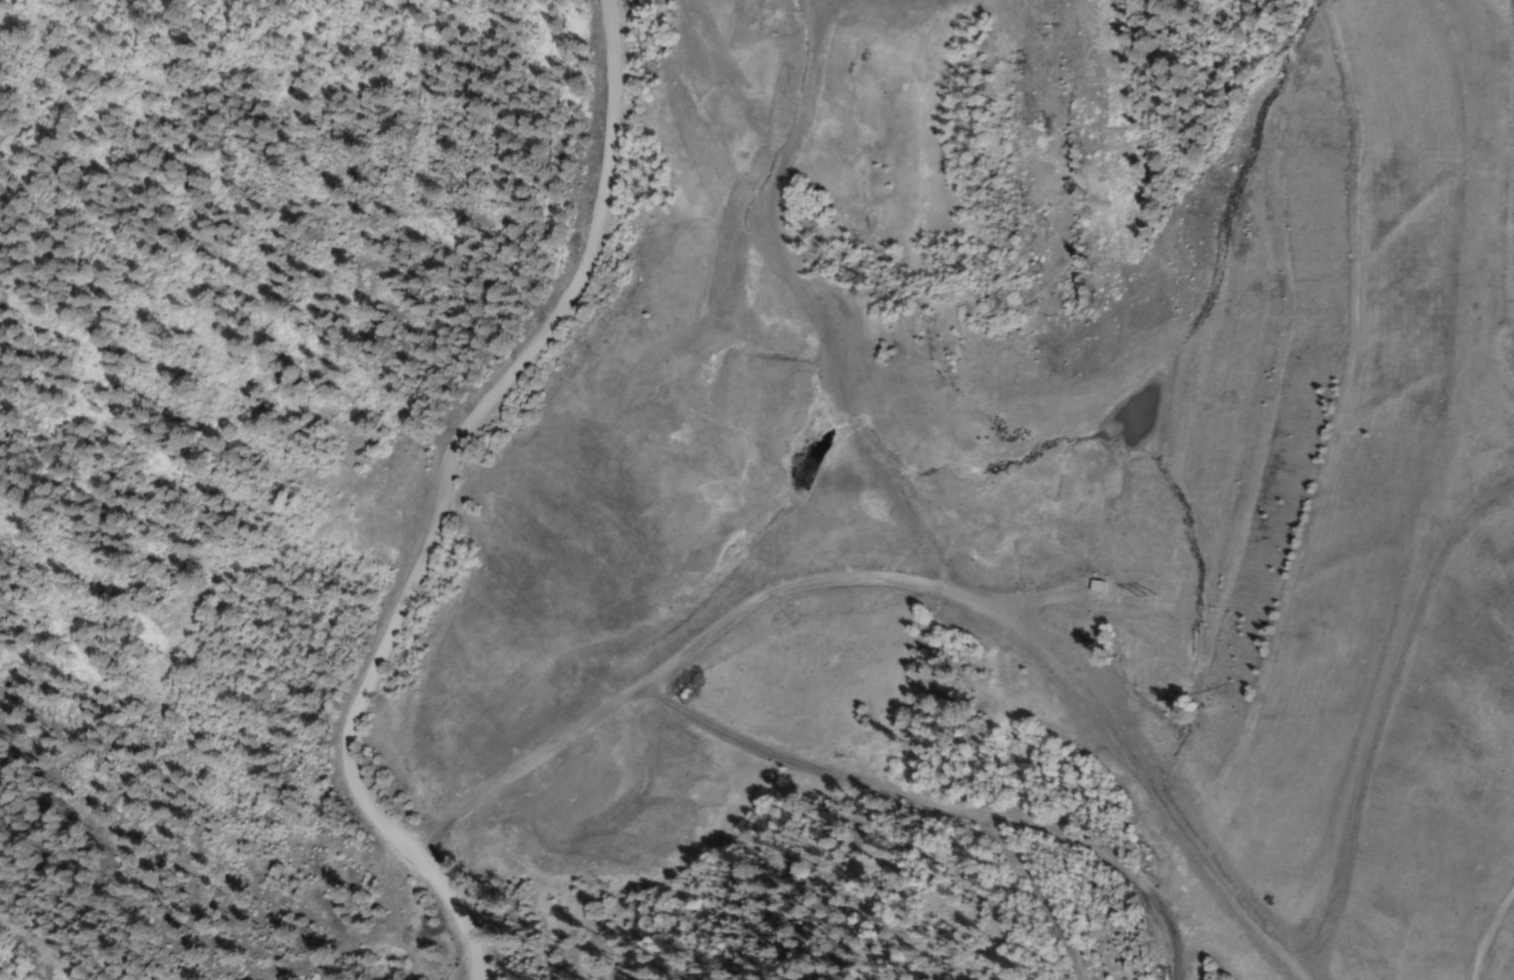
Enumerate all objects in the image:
road: (440, 498)

